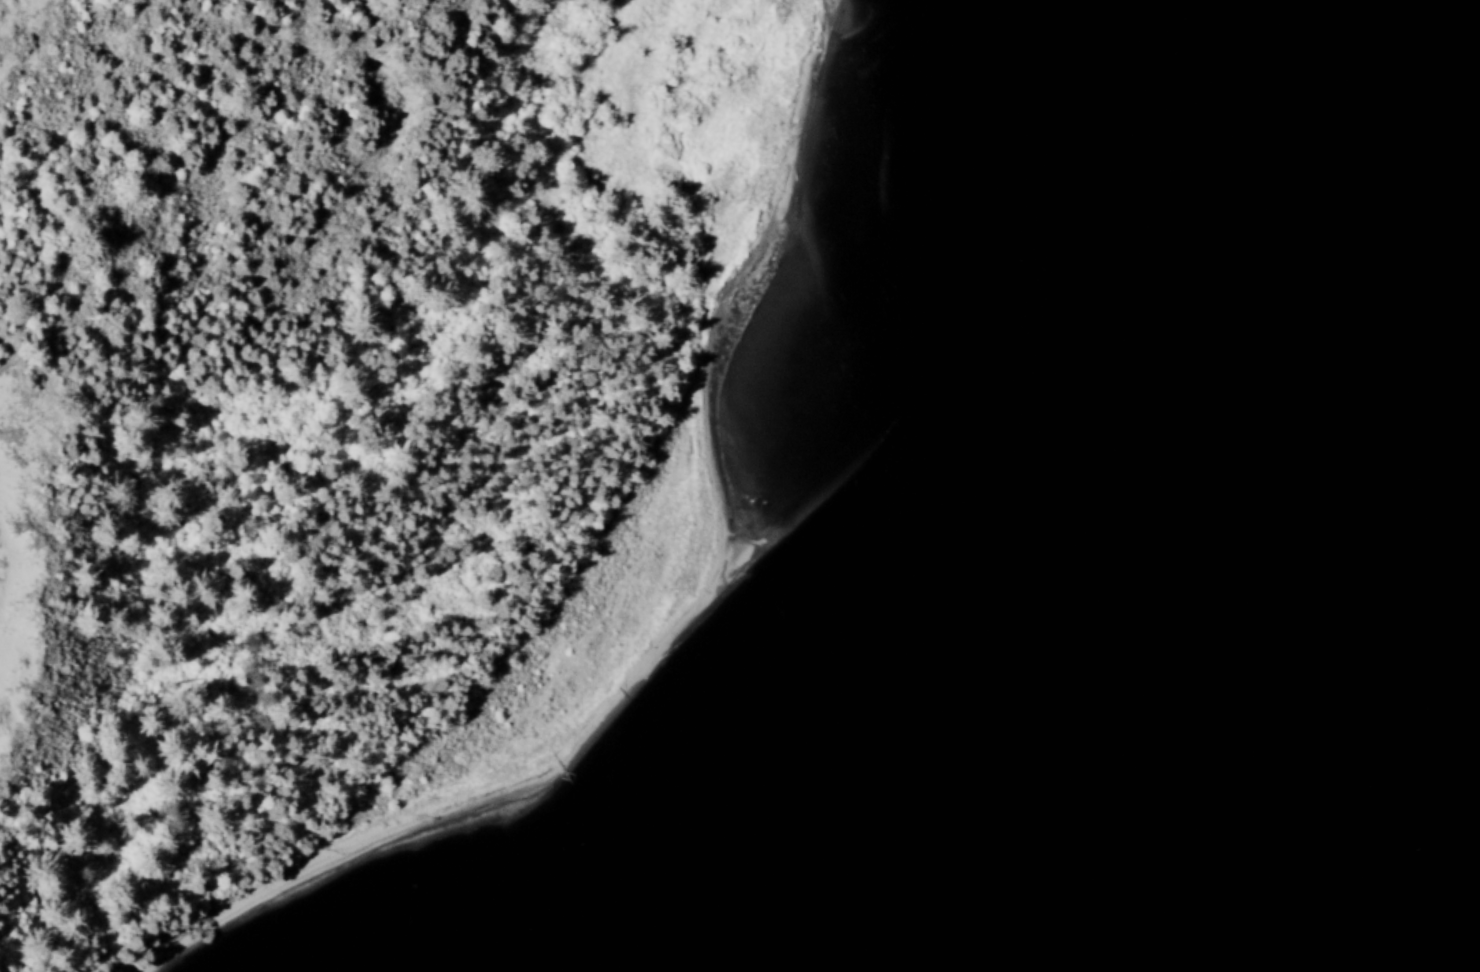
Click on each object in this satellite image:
river: (1368, 743)

